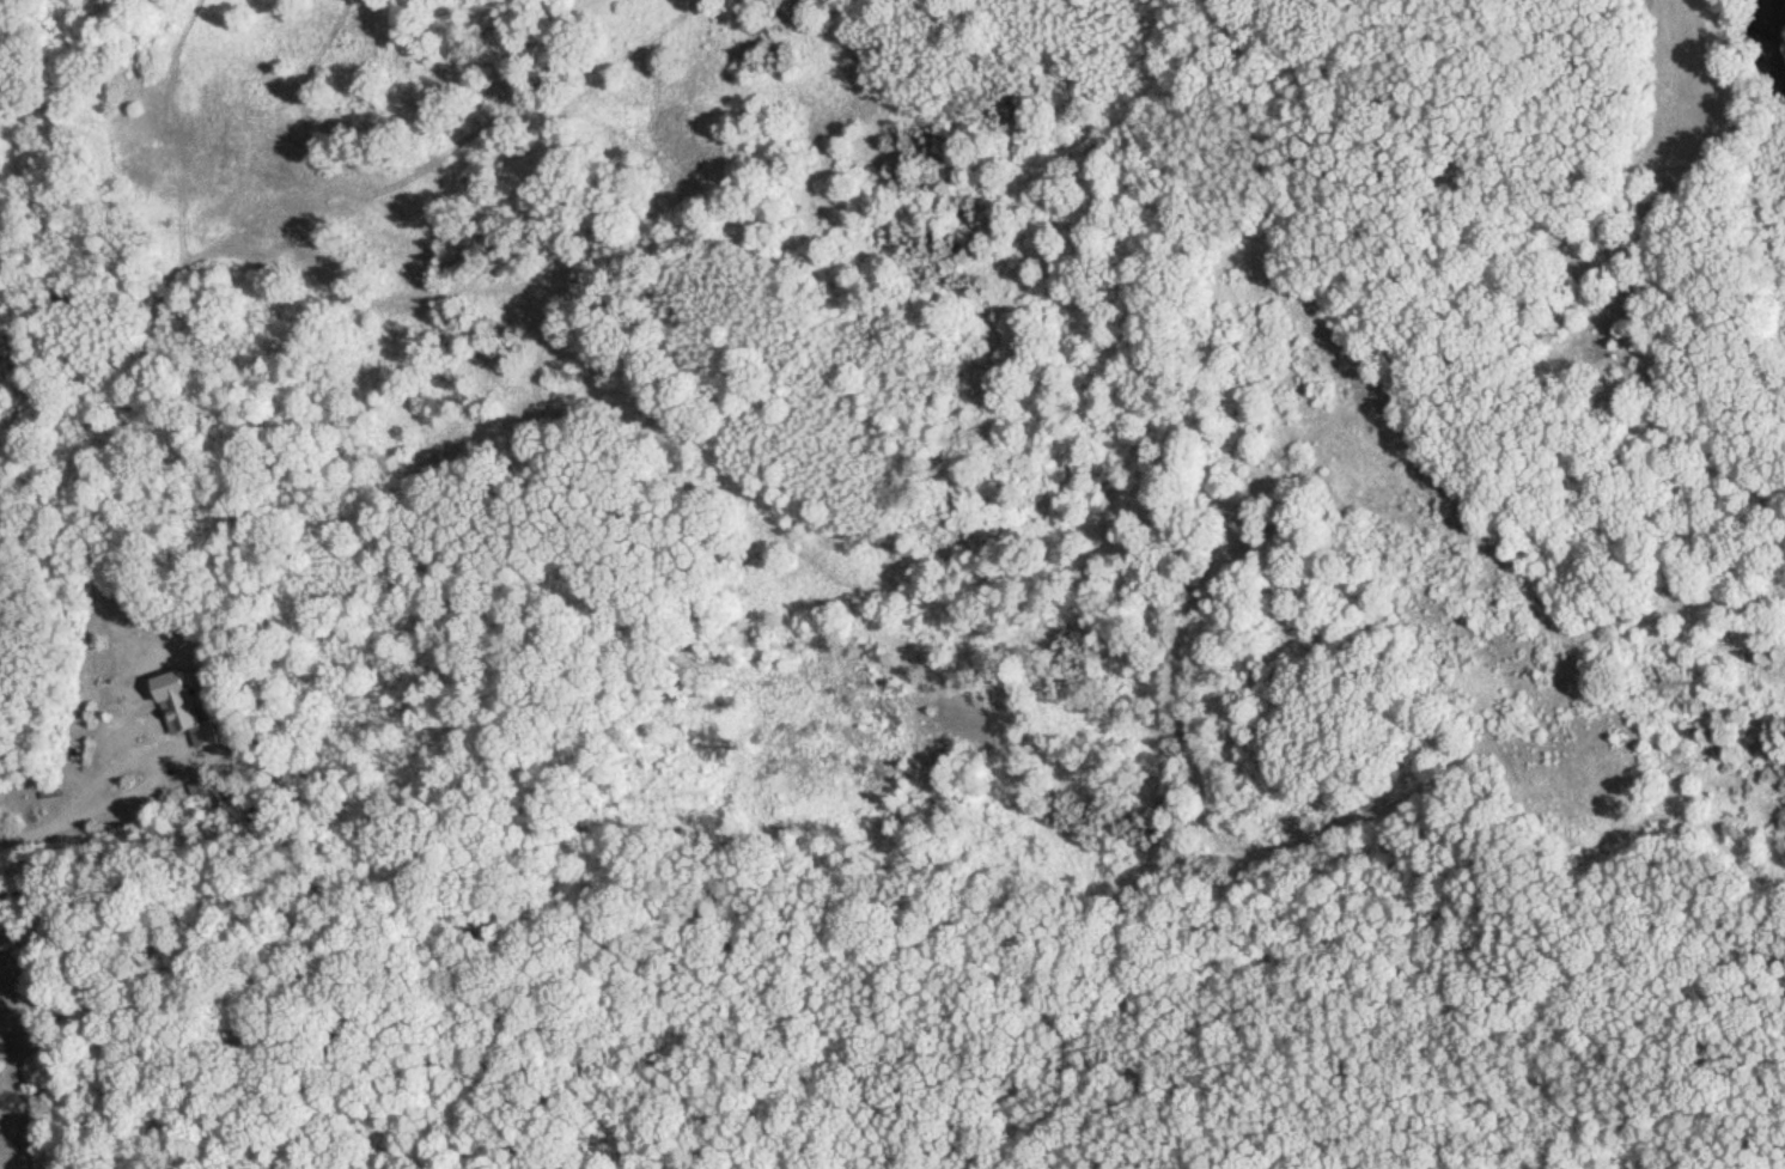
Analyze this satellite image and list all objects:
river: (1766, 48)
building: (190, 719)

